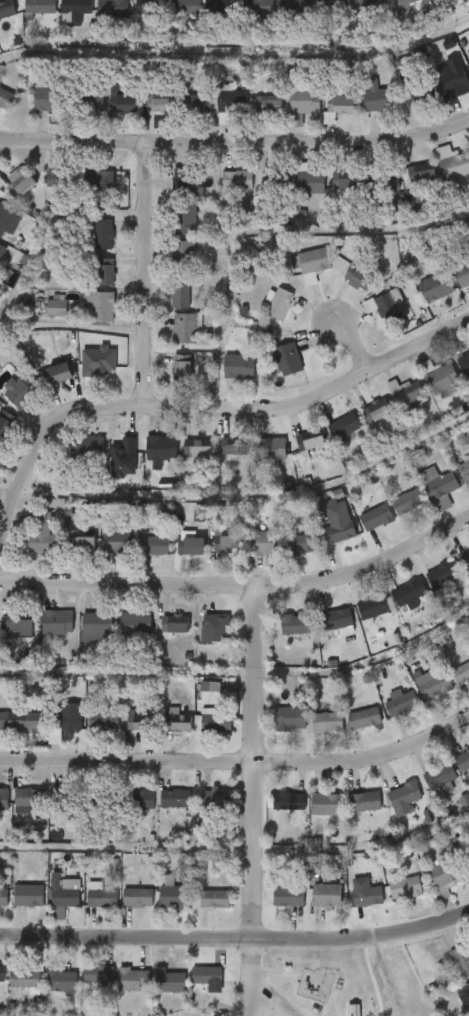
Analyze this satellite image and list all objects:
building: (452, 0)
building: (408, 1)
building: (418, 2)
building: (223, 6)
building: (334, 6)
building: (40, 7)
building: (150, 7)
building: (259, 7)
building: (368, 7)
building: (113, 8)
building: (296, 8)
building: (7, 9)
building: (183, 9)
building: (77, 10)
building: (387, 12)
building: (23, 17)
building: (126, 17)
building: (169, 17)
building: (316, 17)
building: (203, 18)
building: (277, 18)
building: (352, 18)
building: (95, 19)
building: (242, 19)
building: (58, 21)
building: (468, 50)
building: (462, 78)
building: (437, 88)
building: (416, 94)
building: (48, 96)
building: (378, 97)
building: (6, 99)
building: (122, 100)
building: (198, 100)
building: (232, 100)
building: (88, 101)
building: (305, 102)
building: (162, 103)
building: (269, 103)
building: (339, 105)
building: (359, 109)
building: (399, 109)
building: (28, 111)
building: (104, 111)
building: (214, 111)
building: (76, 113)
building: (288, 113)
building: (141, 115)
building: (181, 115)
building: (251, 115)
building: (320, 120)
road: (235, 143)
building: (455, 165)
building: (419, 175)
building: (436, 175)
building: (57, 177)
building: (275, 179)
building: (184, 180)
building: (238, 180)
building: (309, 181)
building: (384, 182)
building: (93, 183)
building: (21, 184)
building: (349, 184)
building: (404, 185)
building: (81, 190)
building: (163, 190)
building: (36, 191)
building: (220, 192)
building: (328, 192)
building: (6, 193)
building: (291, 193)
building: (389, 193)
building: (356, 194)
building: (183, 219)
building: (6, 221)
building: (168, 234)
building: (104, 235)
building: (86, 246)
building: (183, 255)
building: (166, 263)
building: (313, 264)
building: (105, 274)
building: (462, 274)
road: (145, 276)
building: (295, 277)
building: (361, 280)
building: (88, 284)
building: (453, 286)
building: (436, 287)
building: (340, 290)
building: (180, 293)
building: (418, 299)
building: (277, 302)
building: (385, 305)
building: (163, 306)
building: (102, 307)
building: (56, 308)
building: (261, 315)
building: (368, 316)
building: (82, 317)
building: (38, 320)
building: (184, 328)
building: (168, 339)
road: (354, 342)
building: (288, 359)
building: (464, 364)
building: (239, 366)
building: (182, 368)
building: (270, 371)
building: (58, 373)
building: (439, 376)
building: (222, 378)
building: (165, 380)
building: (39, 386)
building: (423, 390)
building: (18, 391)
building: (406, 392)
building: (8, 402)
building: (379, 408)
road: (181, 409)
building: (359, 422)
building: (343, 426)
building: (5, 428)
building: (326, 438)
building: (310, 440)
building: (235, 446)
building: (89, 447)
building: (199, 447)
building: (162, 448)
building: (271, 449)
building: (292, 453)
building: (71, 458)
building: (213, 458)
building: (256, 459)
building: (180, 460)
building: (144, 462)
building: (106, 470)
building: (464, 471)
building: (441, 489)
building: (422, 499)
building: (408, 501)
building: (391, 513)
building: (375, 517)
building: (337, 523)
building: (359, 530)
building: (320, 531)
building: (43, 537)
building: (115, 543)
building: (267, 543)
building: (304, 543)
building: (227, 545)
building: (85, 546)
building: (25, 547)
building: (154, 547)
building: (191, 547)
building: (67, 554)
building: (102, 554)
building: (246, 555)
building: (283, 555)
building: (173, 556)
building: (209, 556)
building: (137, 557)
building: (465, 562)
building: (442, 574)
road: (241, 584)
building: (425, 586)
building: (409, 595)
building: (393, 605)
building: (373, 608)
building: (356, 619)
building: (335, 620)
building: (18, 622)
building: (56, 623)
building: (134, 624)
building: (174, 625)
building: (295, 625)
building: (96, 628)
building: (214, 629)
building: (322, 633)
building: (40, 634)
building: (119, 634)
building: (158, 635)
building: (278, 635)
building: (7, 636)
building: (79, 638)
building: (198, 640)
building: (460, 673)
building: (434, 686)
building: (416, 695)
building: (400, 705)
building: (383, 714)
building: (289, 719)
building: (363, 719)
building: (68, 720)
building: (102, 721)
building: (139, 721)
building: (177, 723)
building: (215, 723)
building: (326, 723)
building: (54, 730)
building: (273, 730)
building: (347, 730)
building: (87, 732)
building: (118, 732)
building: (161, 732)
building: (12, 733)
building: (197, 733)
building: (309, 734)
building: (462, 761)
road: (238, 762)
building: (438, 776)
building: (423, 790)
building: (403, 795)
building: (65, 797)
building: (29, 798)
building: (101, 798)
building: (3, 799)
building: (174, 799)
building: (139, 800)
road: (253, 800)
building: (215, 801)
building: (288, 802)
building: (364, 802)
building: (326, 805)
building: (13, 810)
building: (158, 810)
building: (199, 810)
building: (387, 810)
building: (126, 811)
building: (272, 813)
building: (347, 813)
building: (309, 816)
building: (466, 862)
building: (442, 874)
building: (404, 888)
building: (425, 890)
building: (64, 893)
building: (27, 895)
building: (287, 895)
building: (325, 896)
building: (3, 897)
building: (173, 897)
building: (366, 897)
building: (101, 898)
building: (136, 898)
building: (213, 899)
building: (388, 899)
building: (47, 903)
building: (155, 905)
building: (271, 905)
building: (84, 907)
building: (309, 907)
building: (350, 907)
building: (121, 909)
building: (197, 910)
road: (236, 939)
building: (460, 959)
building: (1, 972)
building: (97, 973)
building: (445, 973)
building: (26, 975)
building: (206, 975)
building: (133, 978)
building: (61, 980)
building: (168, 980)
building: (81, 986)
building: (190, 987)
building: (467, 987)
building: (11, 989)
building: (116, 990)
building: (44, 992)
building: (152, 993)
building: (455, 1004)

